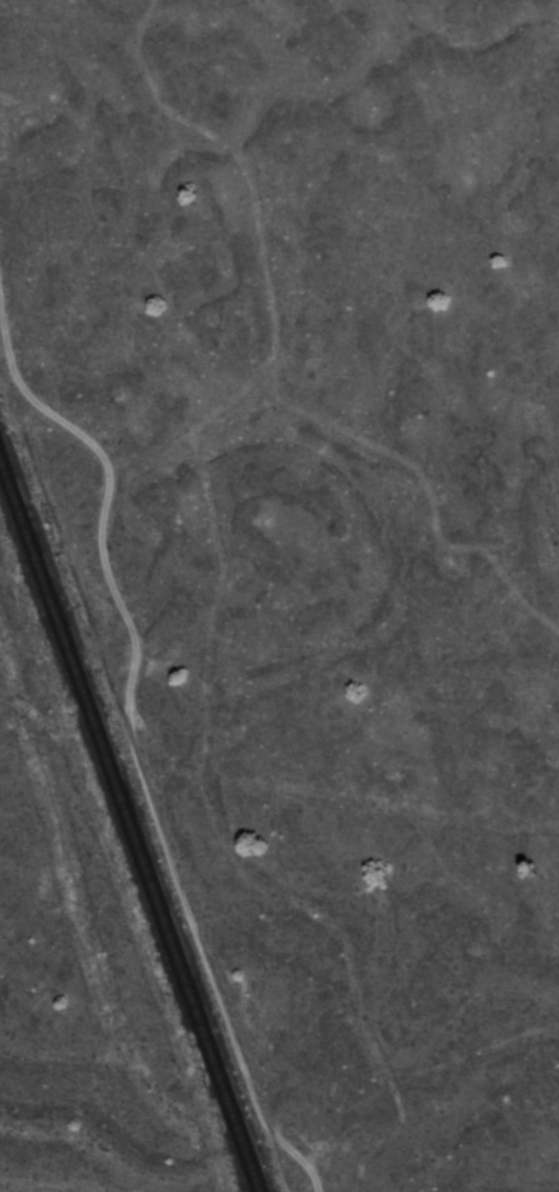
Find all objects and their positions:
road: (278, 355)
railway: (128, 830)

